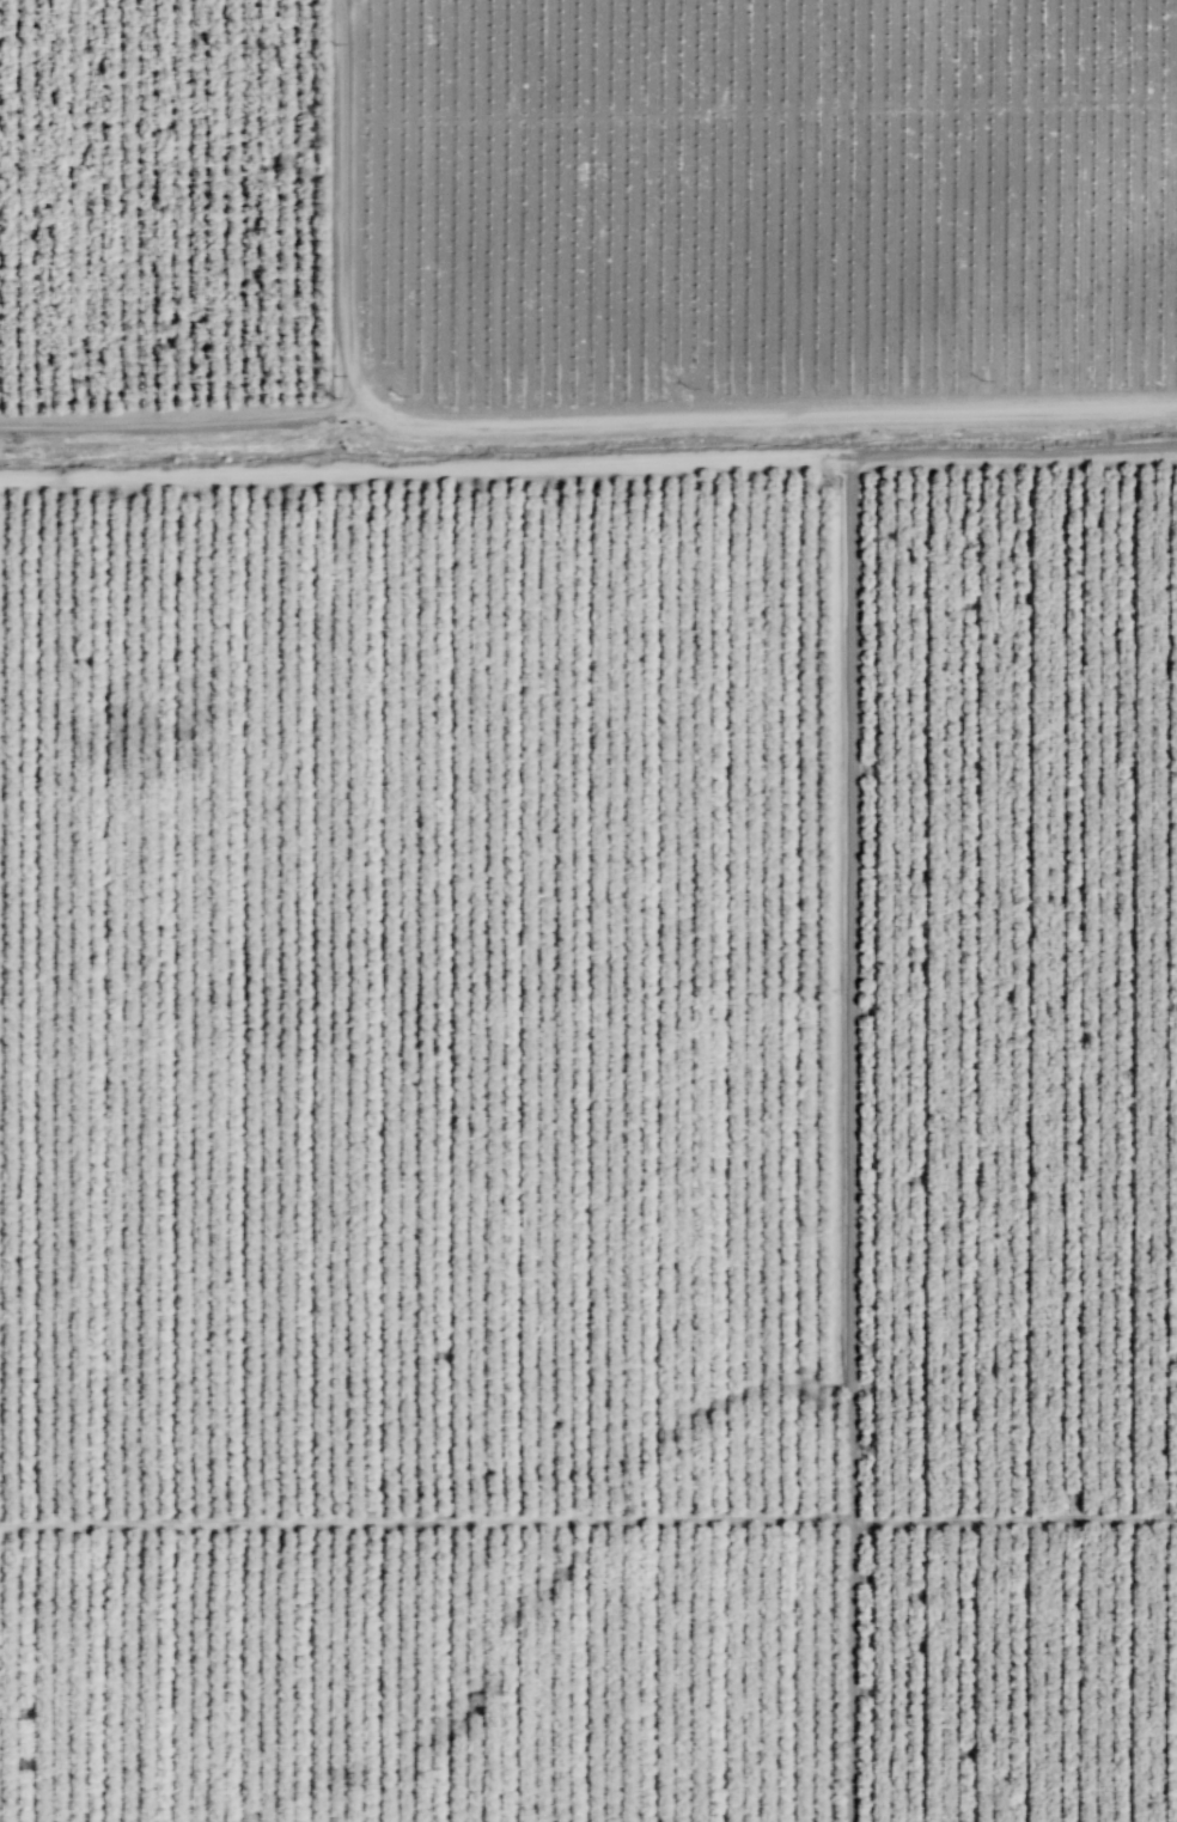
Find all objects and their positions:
road: (858, 209)
crop: (748, 217)
road: (183, 423)
road: (562, 427)
road: (587, 463)
road: (850, 987)
road: (588, 1519)
road: (849, 1670)

